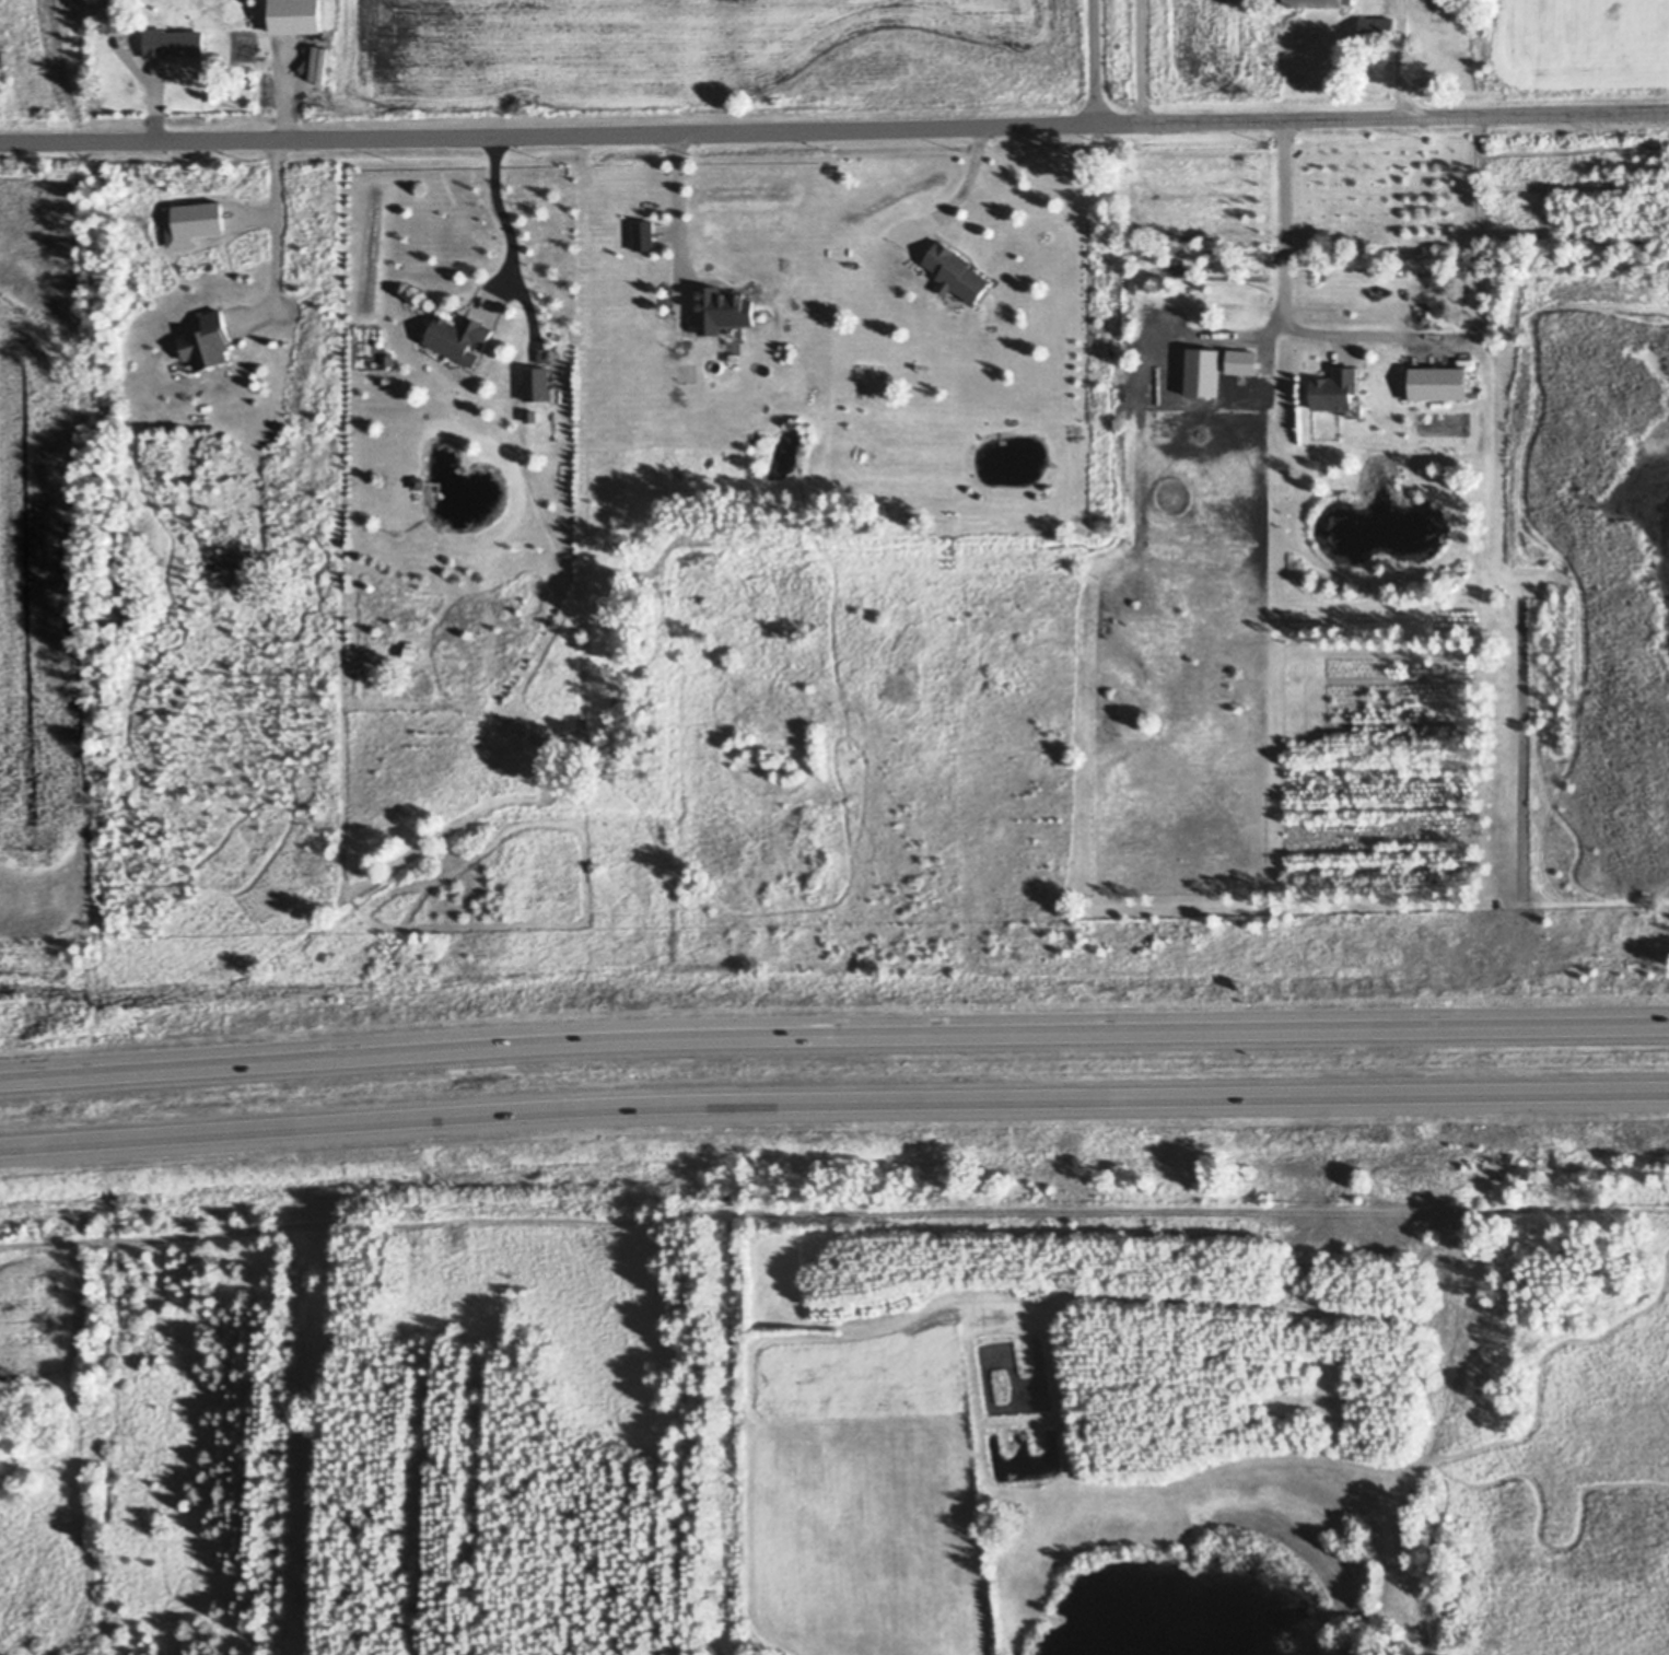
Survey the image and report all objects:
building: (1319, 9)
building: (296, 18)
building: (116, 22)
building: (1377, 28)
building: (172, 43)
road: (1410, 59)
road: (1151, 62)
road: (1095, 63)
road: (834, 131)
road: (967, 191)
road: (687, 210)
building: (643, 234)
road: (517, 241)
road: (283, 247)
building: (954, 272)
building: (164, 273)
building: (954, 299)
building: (726, 308)
building: (1241, 323)
building: (1188, 333)
road: (1389, 335)
building: (458, 336)
building: (209, 342)
building: (480, 358)
building: (388, 360)
building: (186, 368)
building: (536, 381)
building: (1438, 383)
building: (1338, 388)
building: (1355, 408)
building: (530, 417)
building: (419, 482)
building: (437, 491)
building: (412, 651)
building: (353, 904)
road: (833, 1035)
road: (833, 1099)
building: (1039, 1290)

